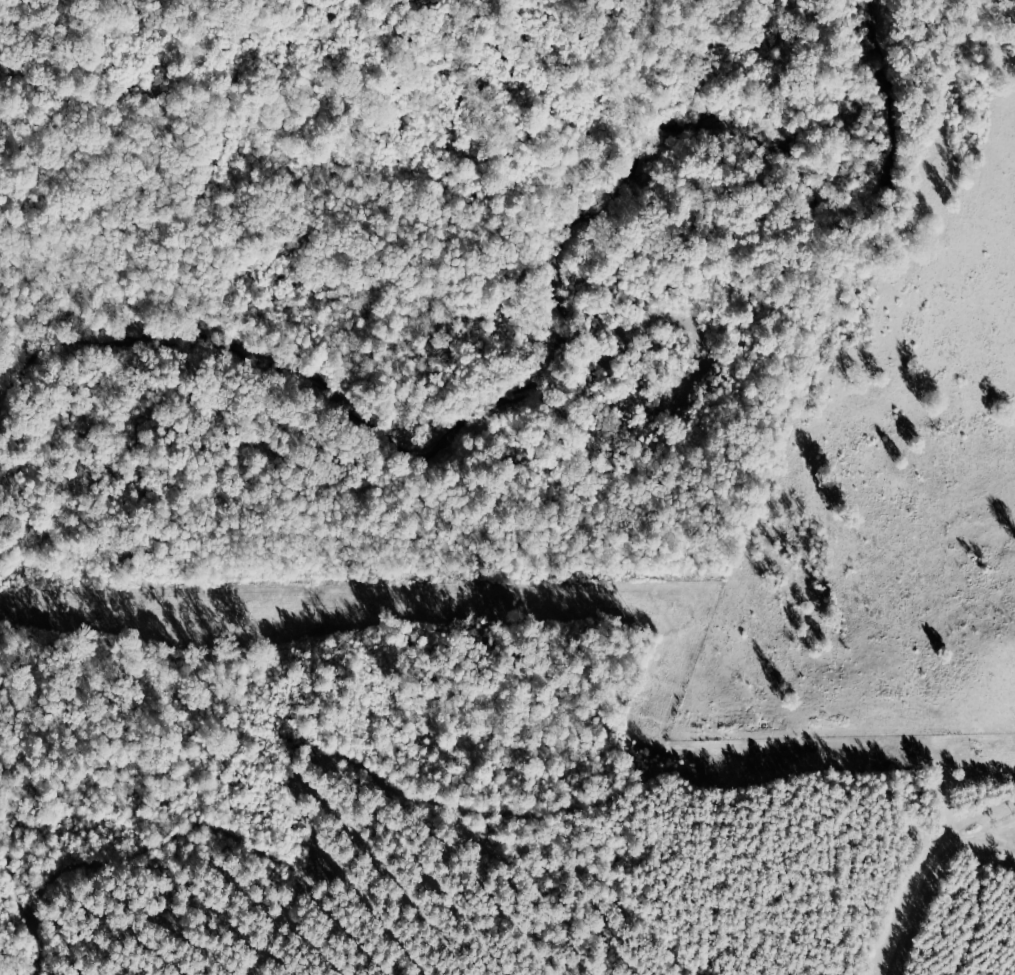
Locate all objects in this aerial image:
road: (920, 867)

